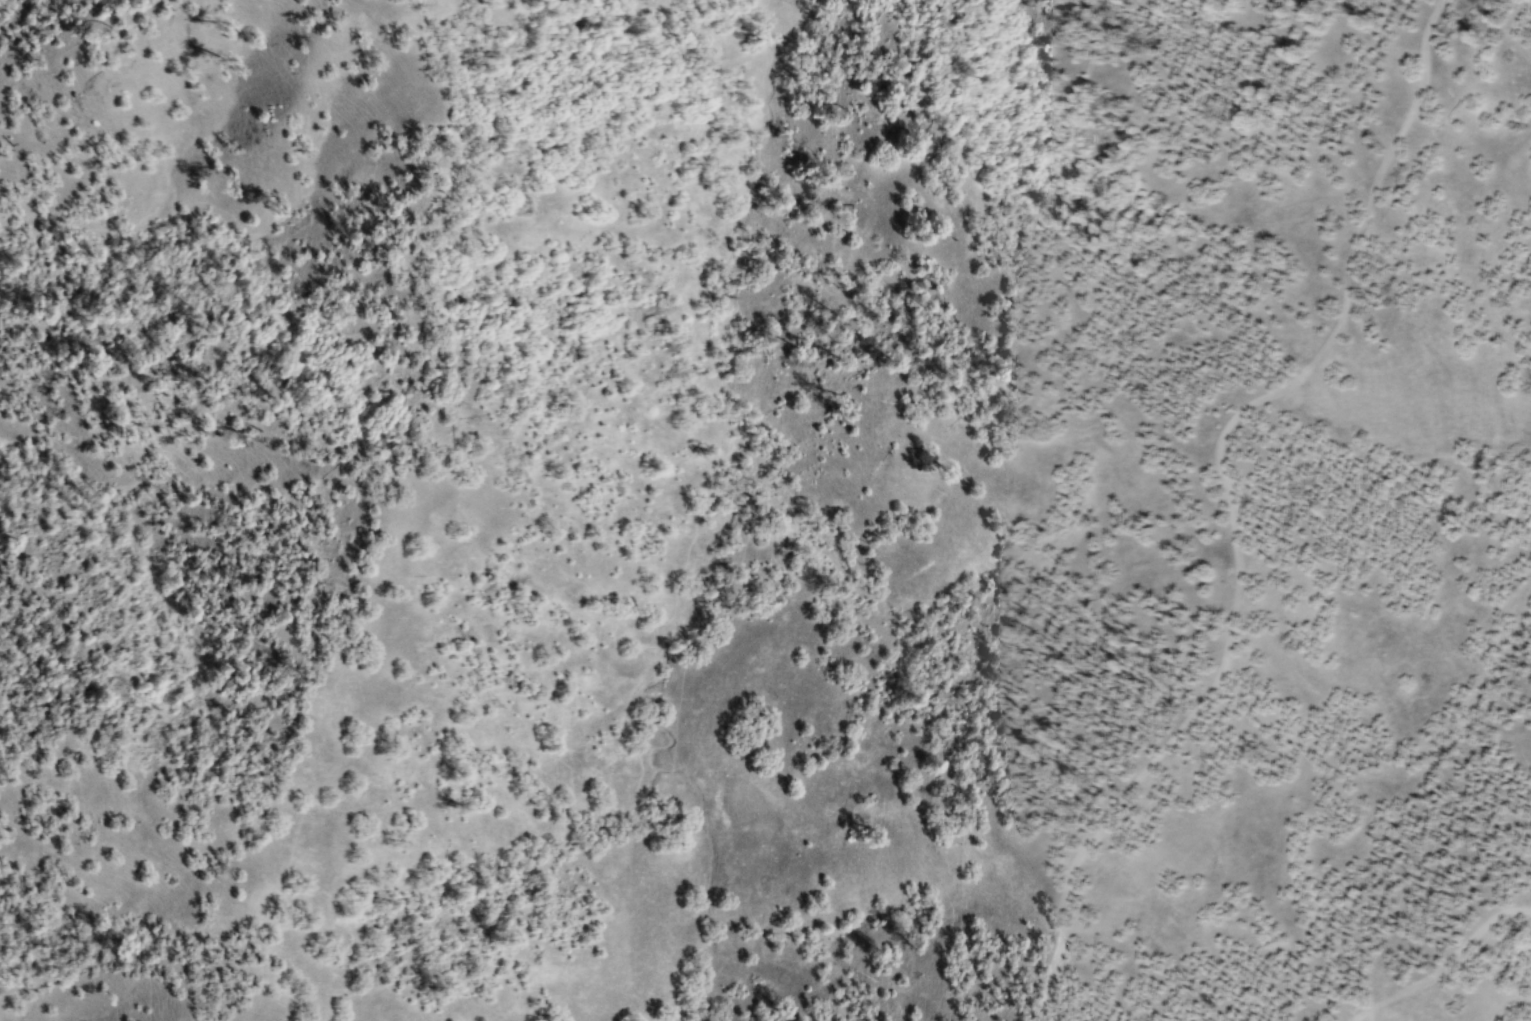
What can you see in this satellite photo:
road: (1456, 971)

